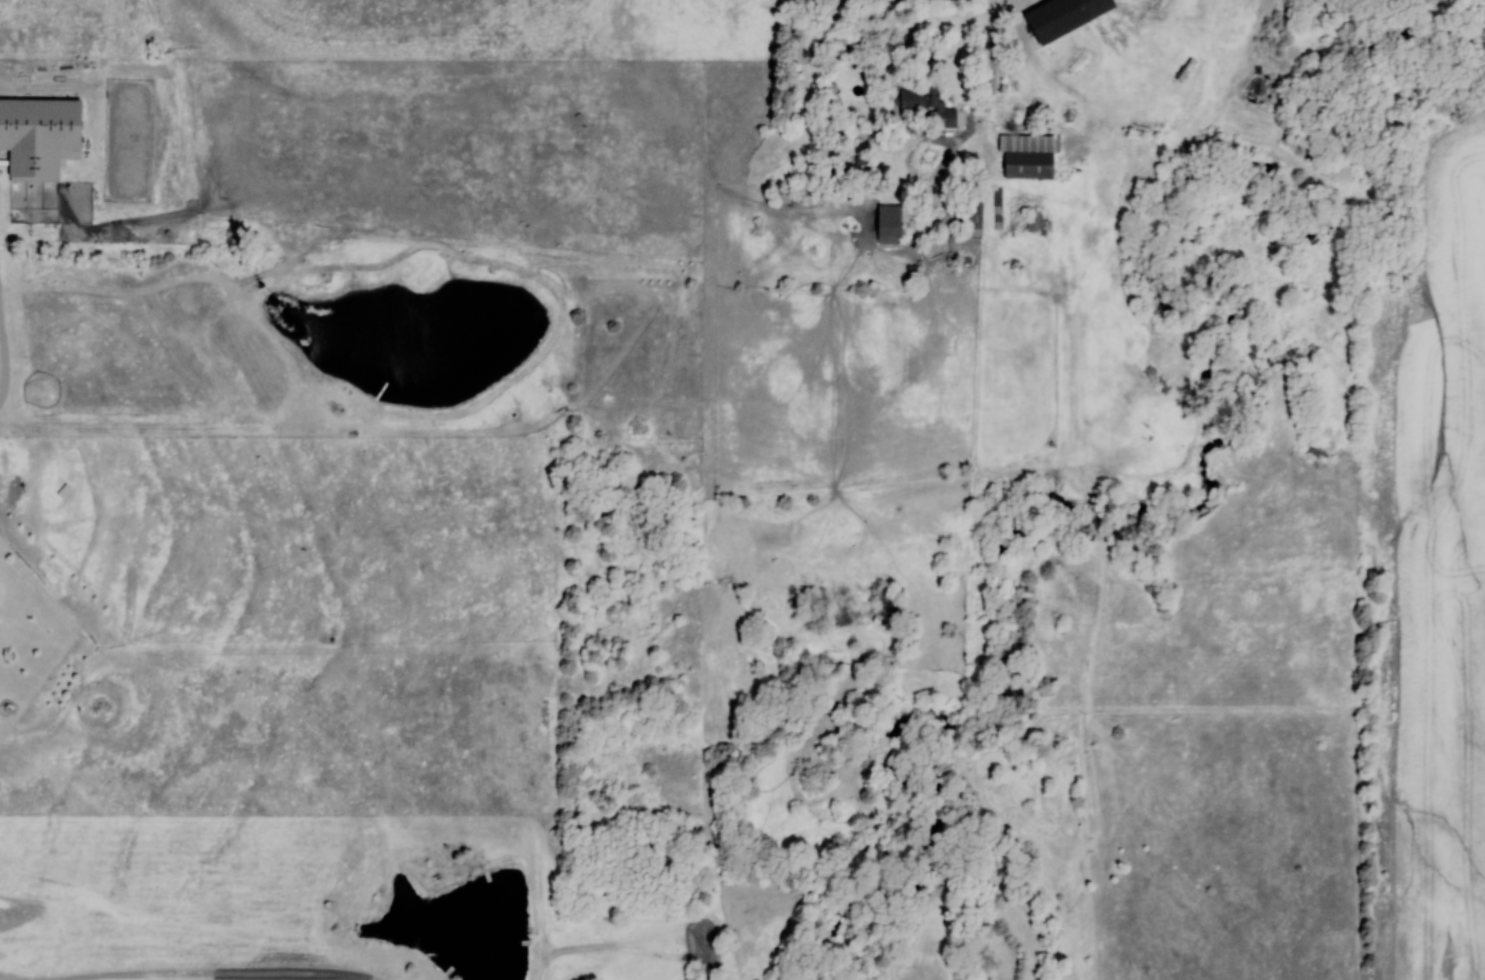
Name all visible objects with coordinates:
road: (994, 64)
building: (924, 102)
building: (36, 135)
building: (1026, 164)
building: (997, 208)
building: (968, 214)
building: (1034, 220)
building: (886, 223)
road: (5, 349)

